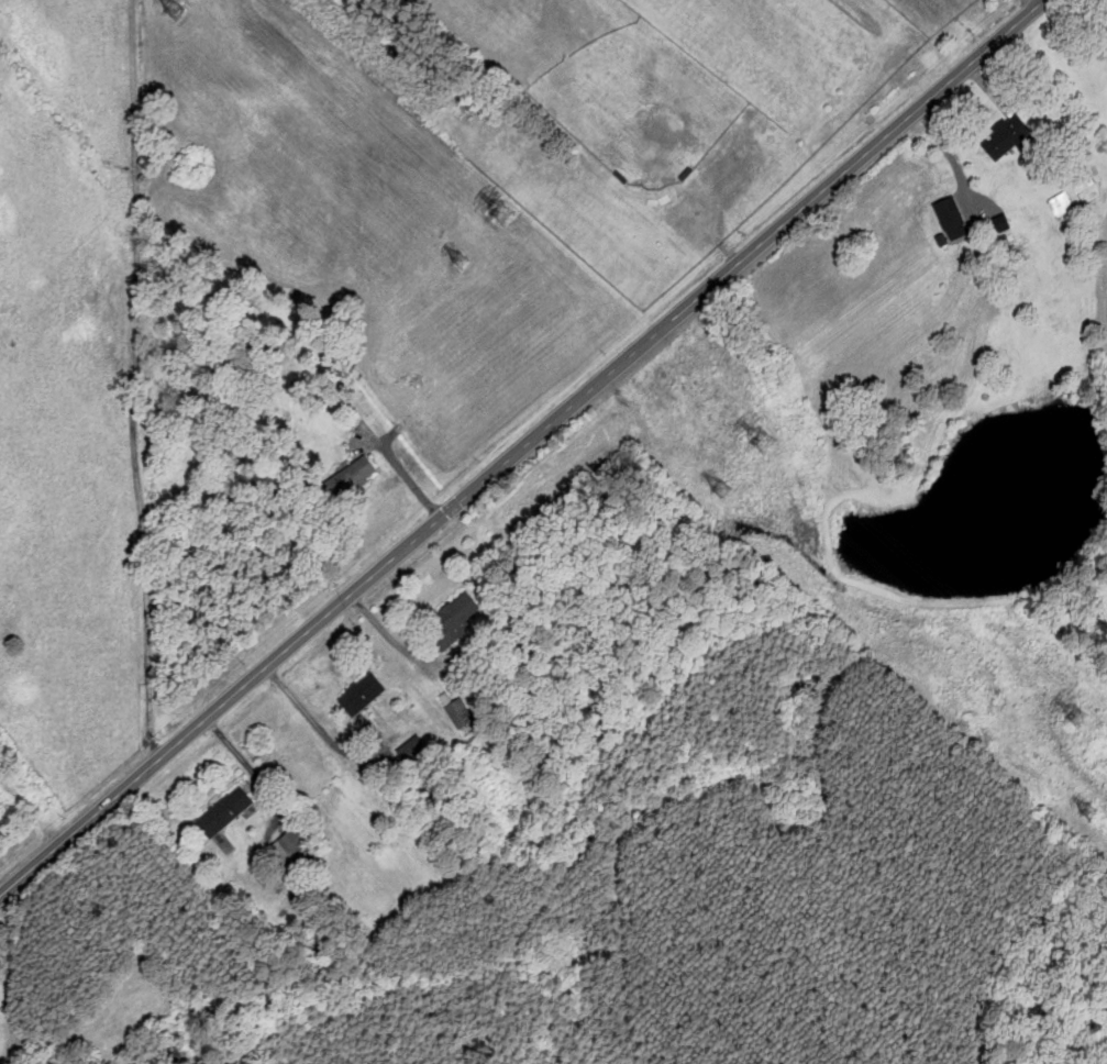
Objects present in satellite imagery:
power tower: (177, 14)
park: (764, 46)
park: (640, 104)
building: (1005, 137)
road: (947, 152)
building: (1077, 179)
building: (1058, 203)
power tower: (507, 214)
building: (951, 215)
building: (1000, 223)
power tower: (463, 261)
power tower: (764, 445)
road: (521, 447)
road: (403, 472)
building: (346, 479)
power tower: (722, 490)
building: (450, 621)
building: (357, 695)
building: (456, 713)
power tower: (1077, 720)
building: (411, 753)
power tower: (1089, 810)
building: (221, 812)
building: (291, 845)

